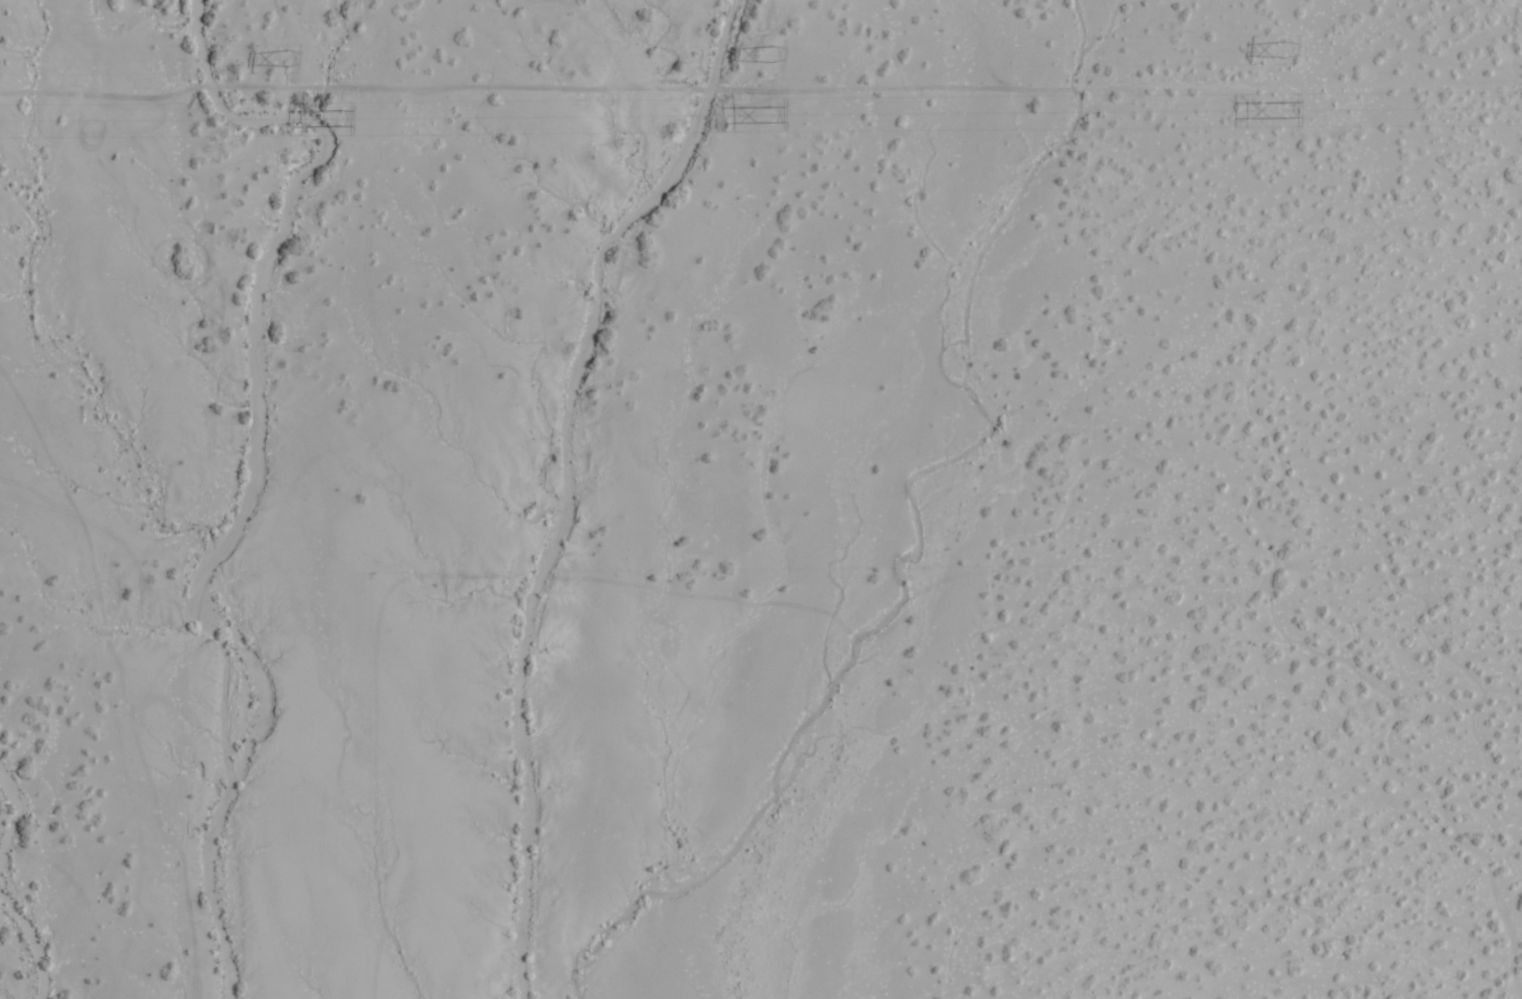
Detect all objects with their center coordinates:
power tower: (1280, 47)
power tower: (770, 53)
power tower: (284, 57)
power tower: (1281, 108)
power tower: (770, 115)
power tower: (337, 117)

